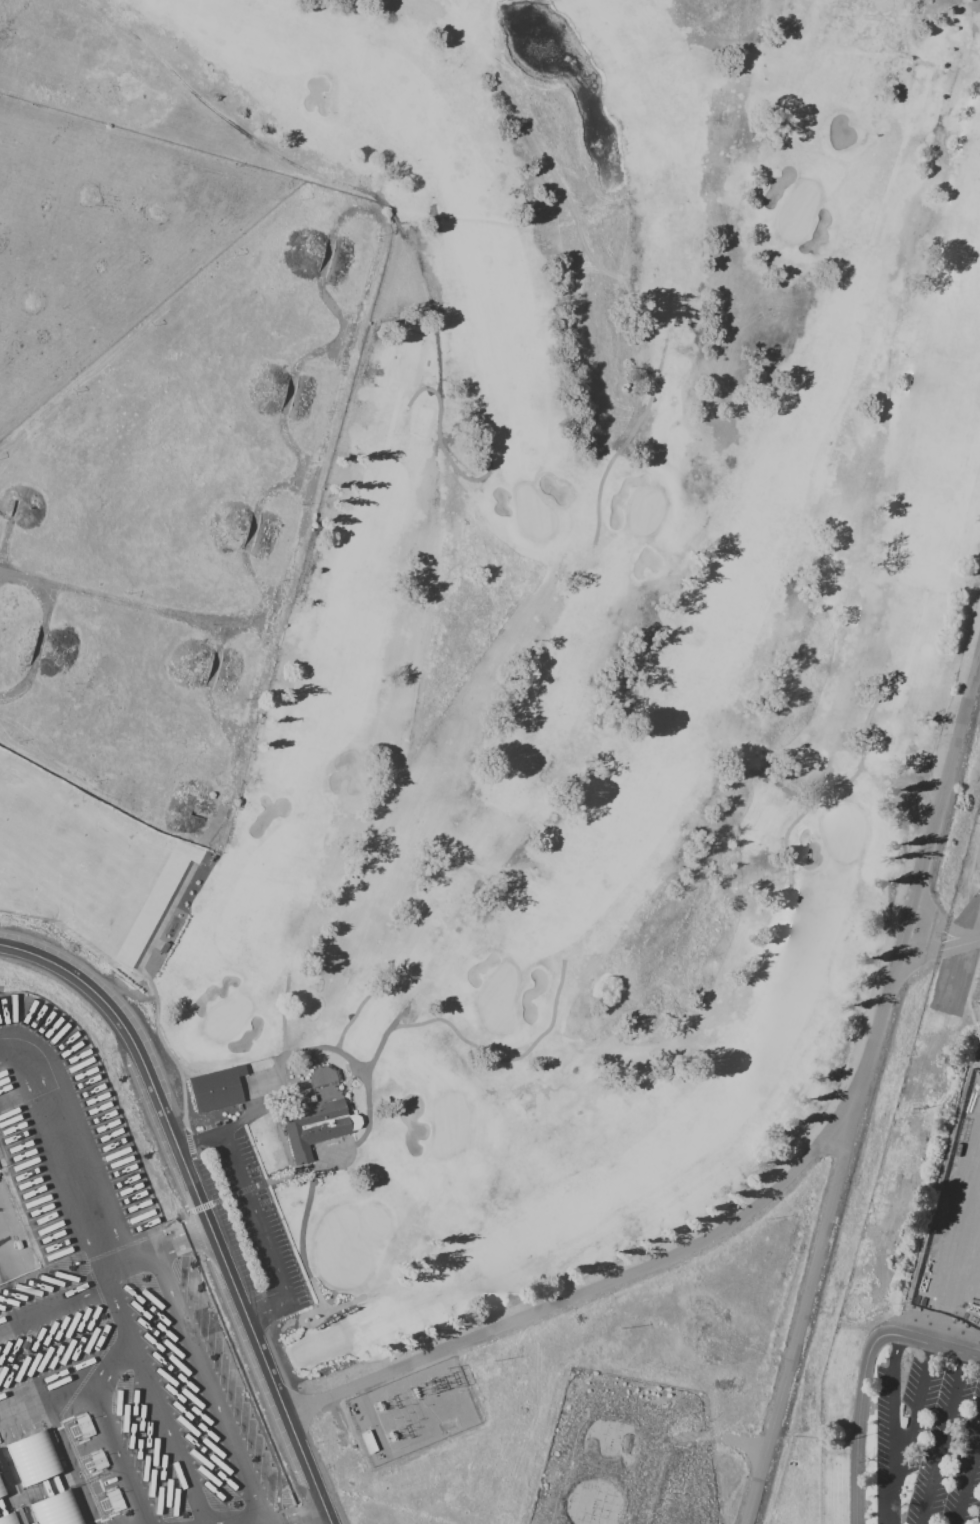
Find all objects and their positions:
road: (309, 493)
park: (567, 644)
road: (942, 923)
road: (939, 949)
building: (215, 1088)
road: (864, 1093)
building: (312, 1126)
road: (60, 1154)
airport: (2, 1159)
road: (937, 1192)
road: (203, 1204)
road: (254, 1212)
parking lot: (248, 1220)
road: (200, 1234)
airport: (12, 1242)
road: (146, 1255)
road: (626, 1277)
road: (55, 1302)
road: (120, 1308)
parking lot: (108, 1320)
road: (261, 1320)
road: (925, 1342)
parking lot: (941, 1343)
road: (275, 1354)
road: (112, 1367)
road: (209, 1386)
road: (42, 1397)
road: (920, 1403)
road: (296, 1409)
power substation: (408, 1411)
road: (891, 1429)
road: (170, 1434)
road: (859, 1434)
road: (944, 1439)
building: (367, 1442)
road: (116, 1454)
building: (97, 1460)
building: (31, 1465)
building: (5, 1474)
road: (967, 1480)
road: (325, 1481)
building: (1, 1496)
building: (55, 1512)
road: (287, 1517)
building: (7, 1521)

